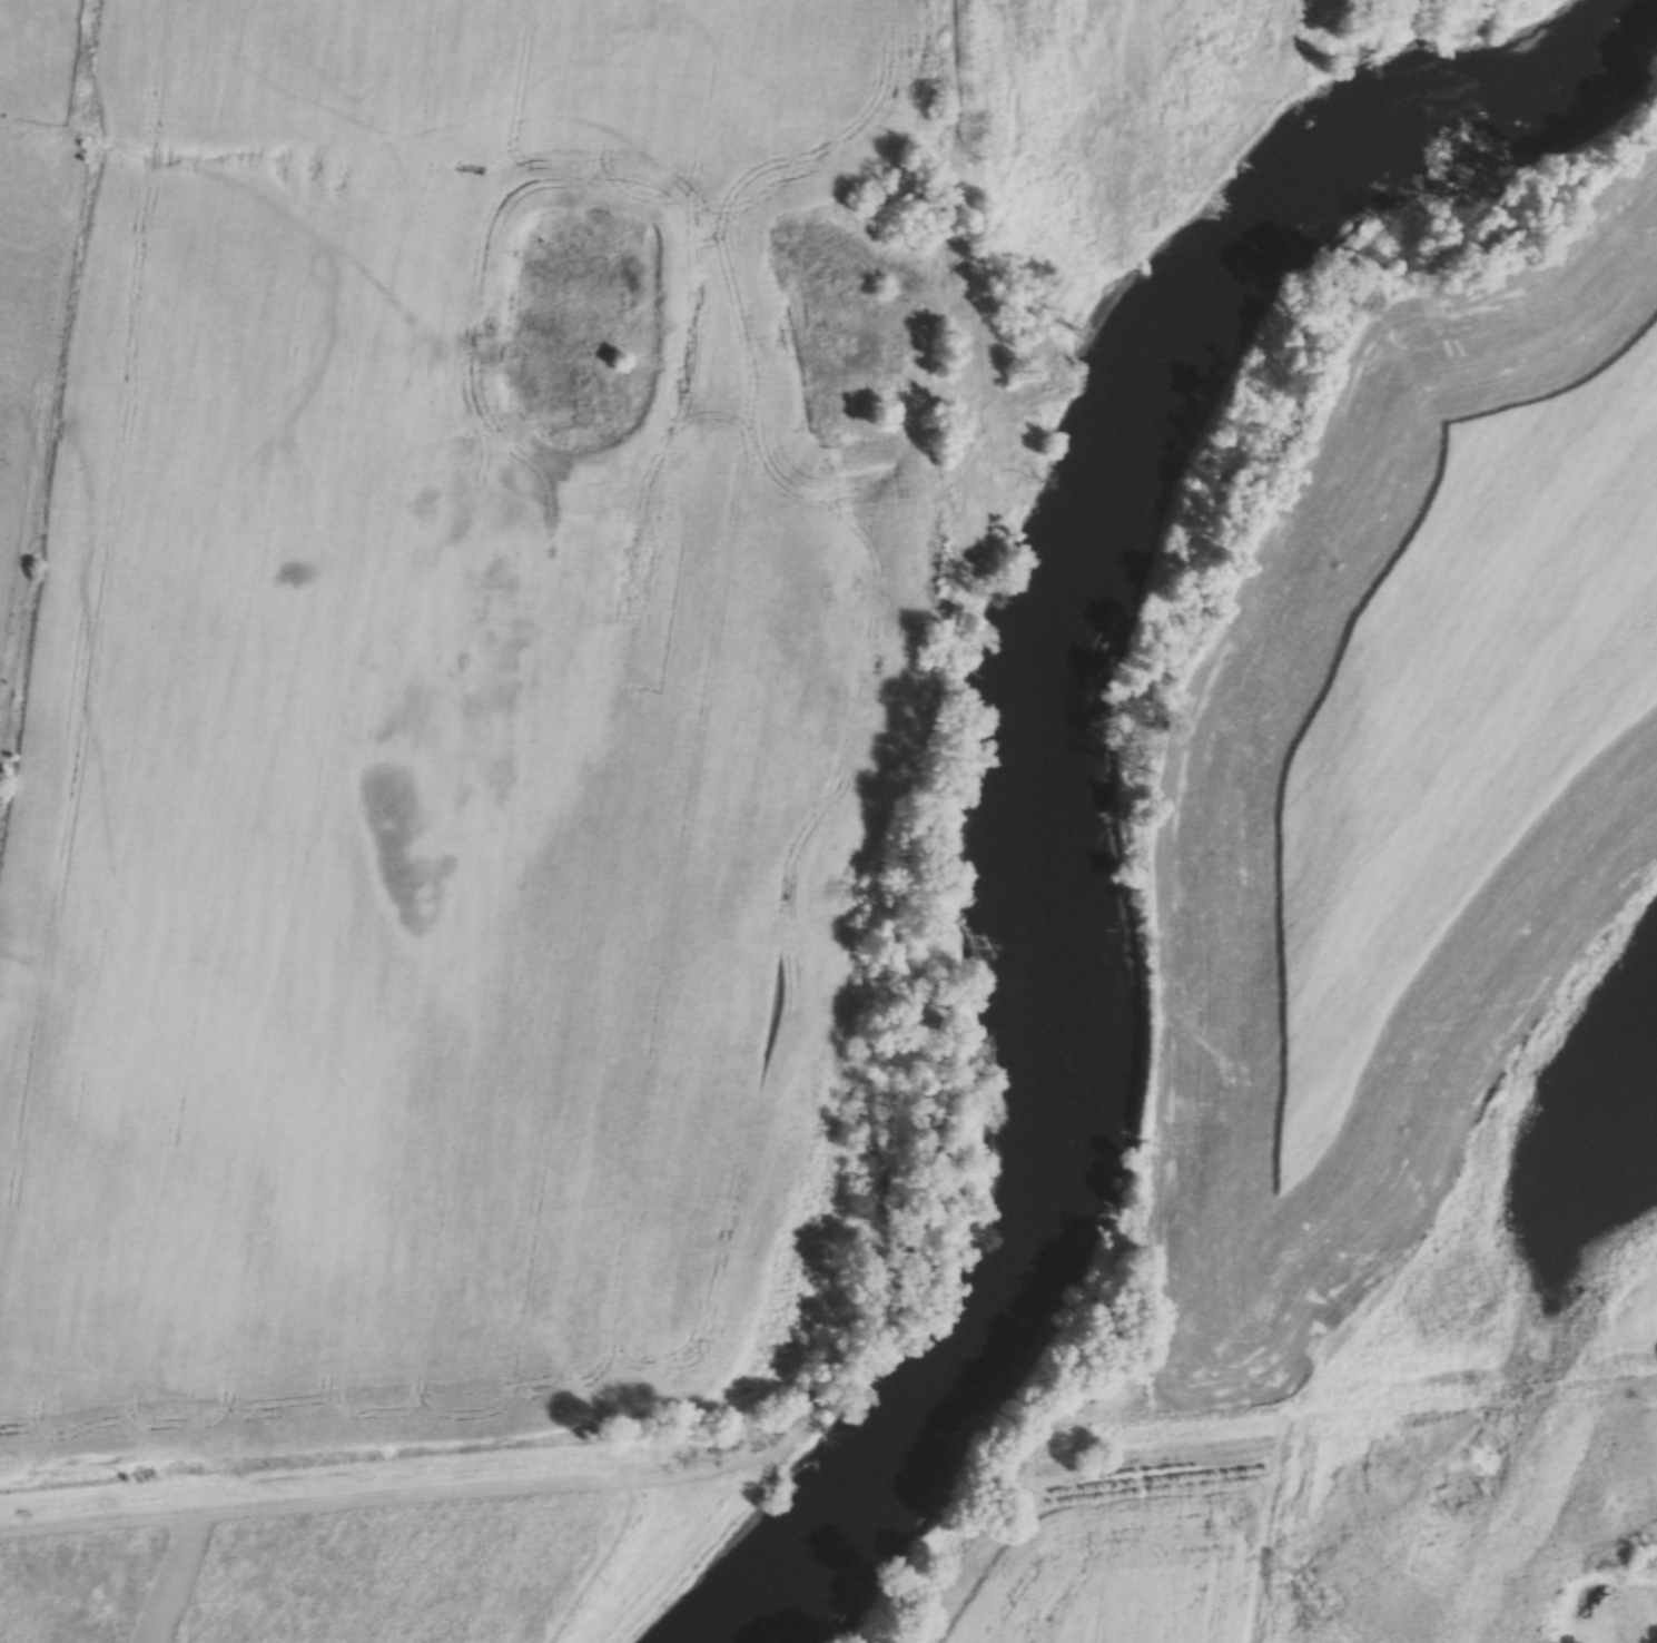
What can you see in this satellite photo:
river: (1053, 737)

